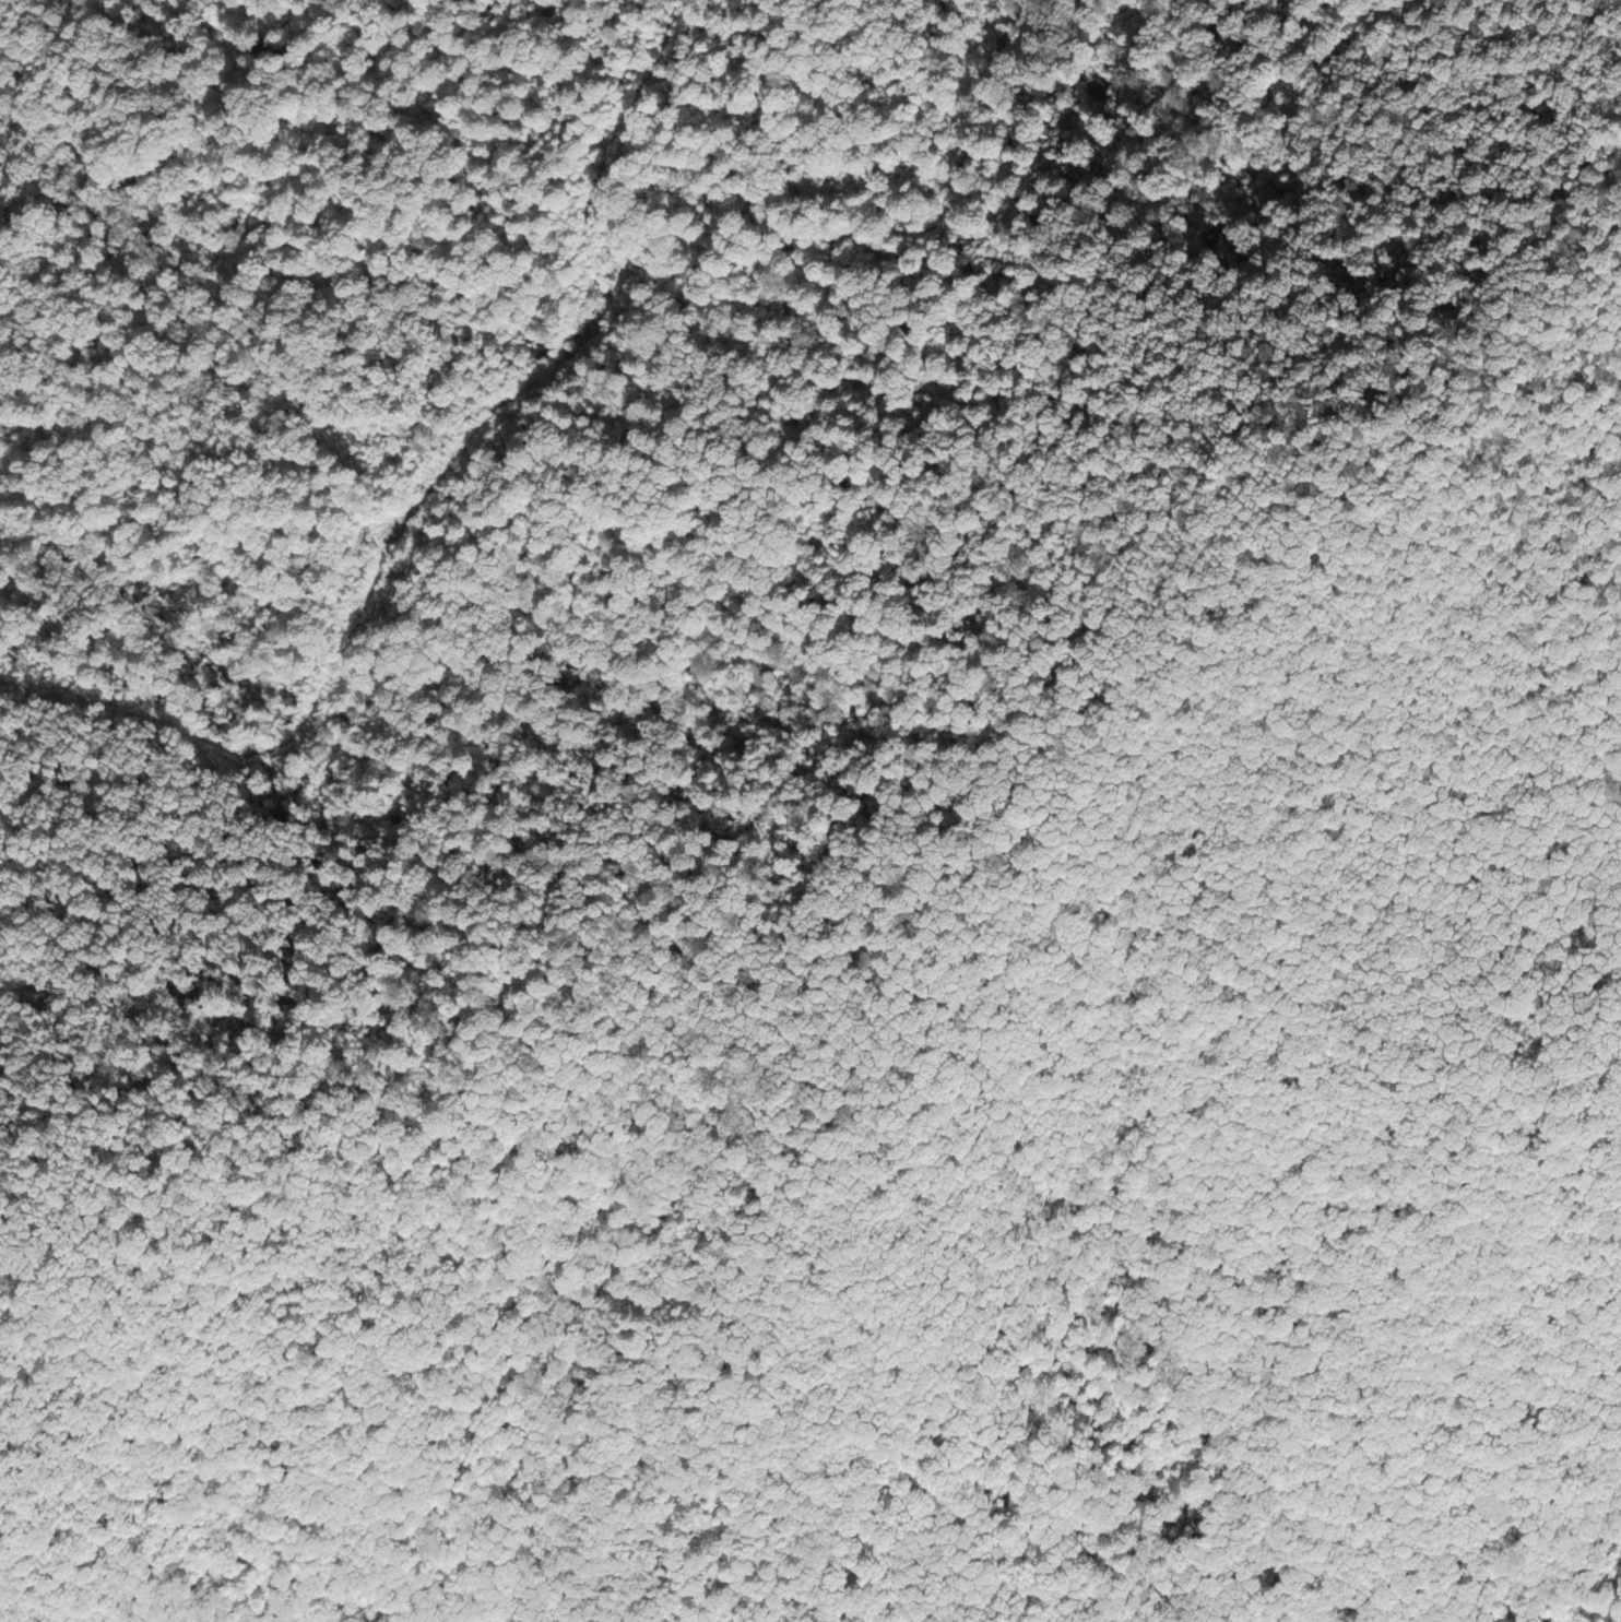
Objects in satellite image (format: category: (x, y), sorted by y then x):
road: (1502, 1587)

